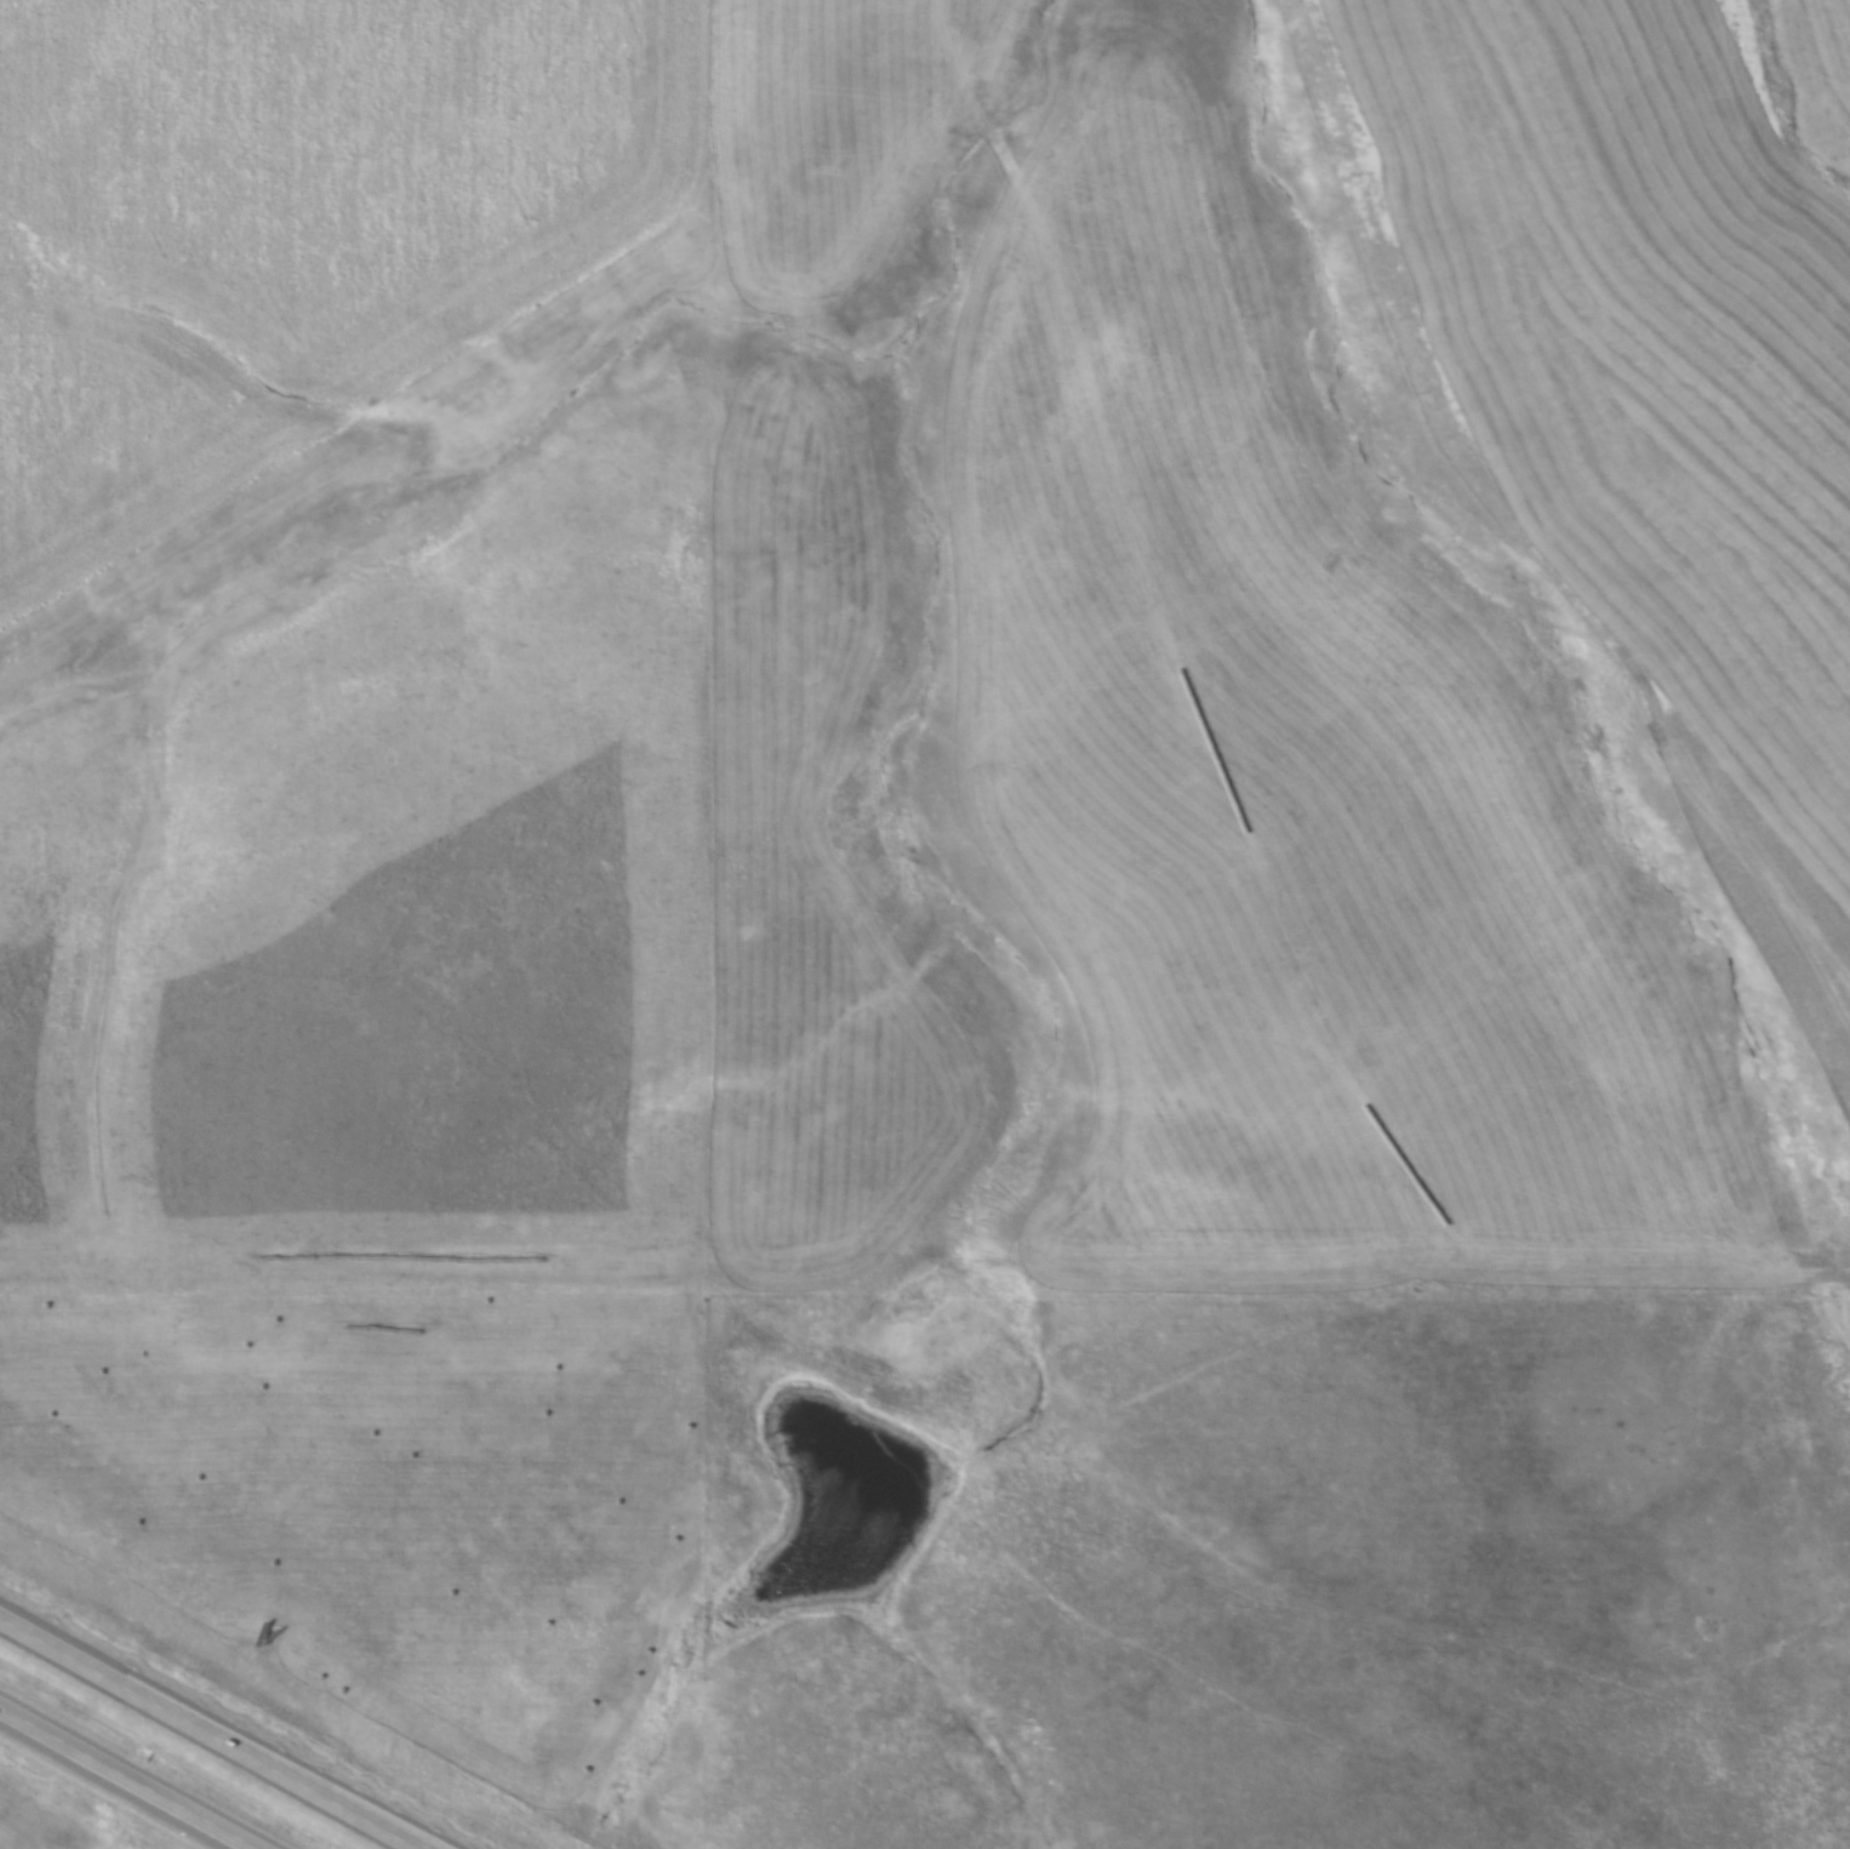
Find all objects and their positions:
road: (924, 1289)
road: (202, 1736)
road: (125, 1780)

